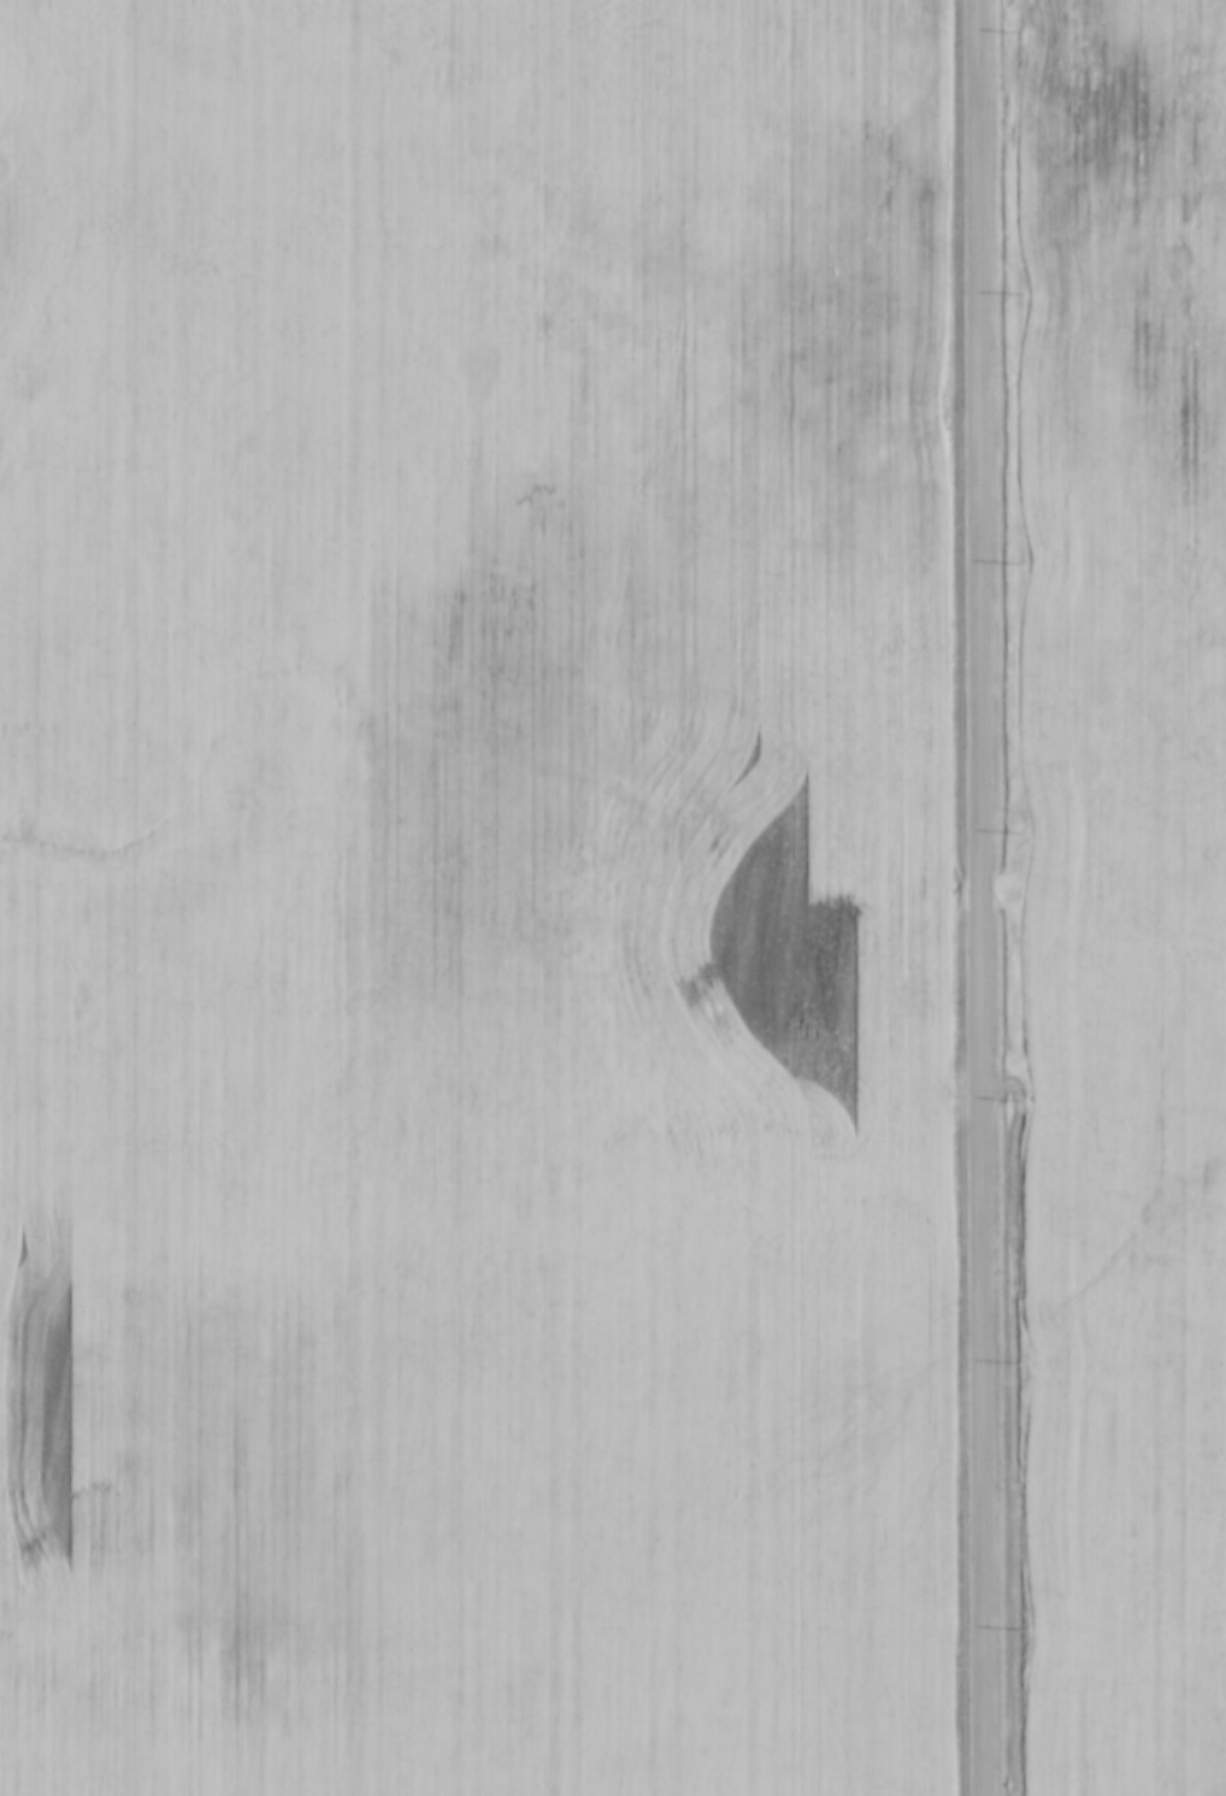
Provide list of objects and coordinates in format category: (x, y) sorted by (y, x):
road: (979, 897)

